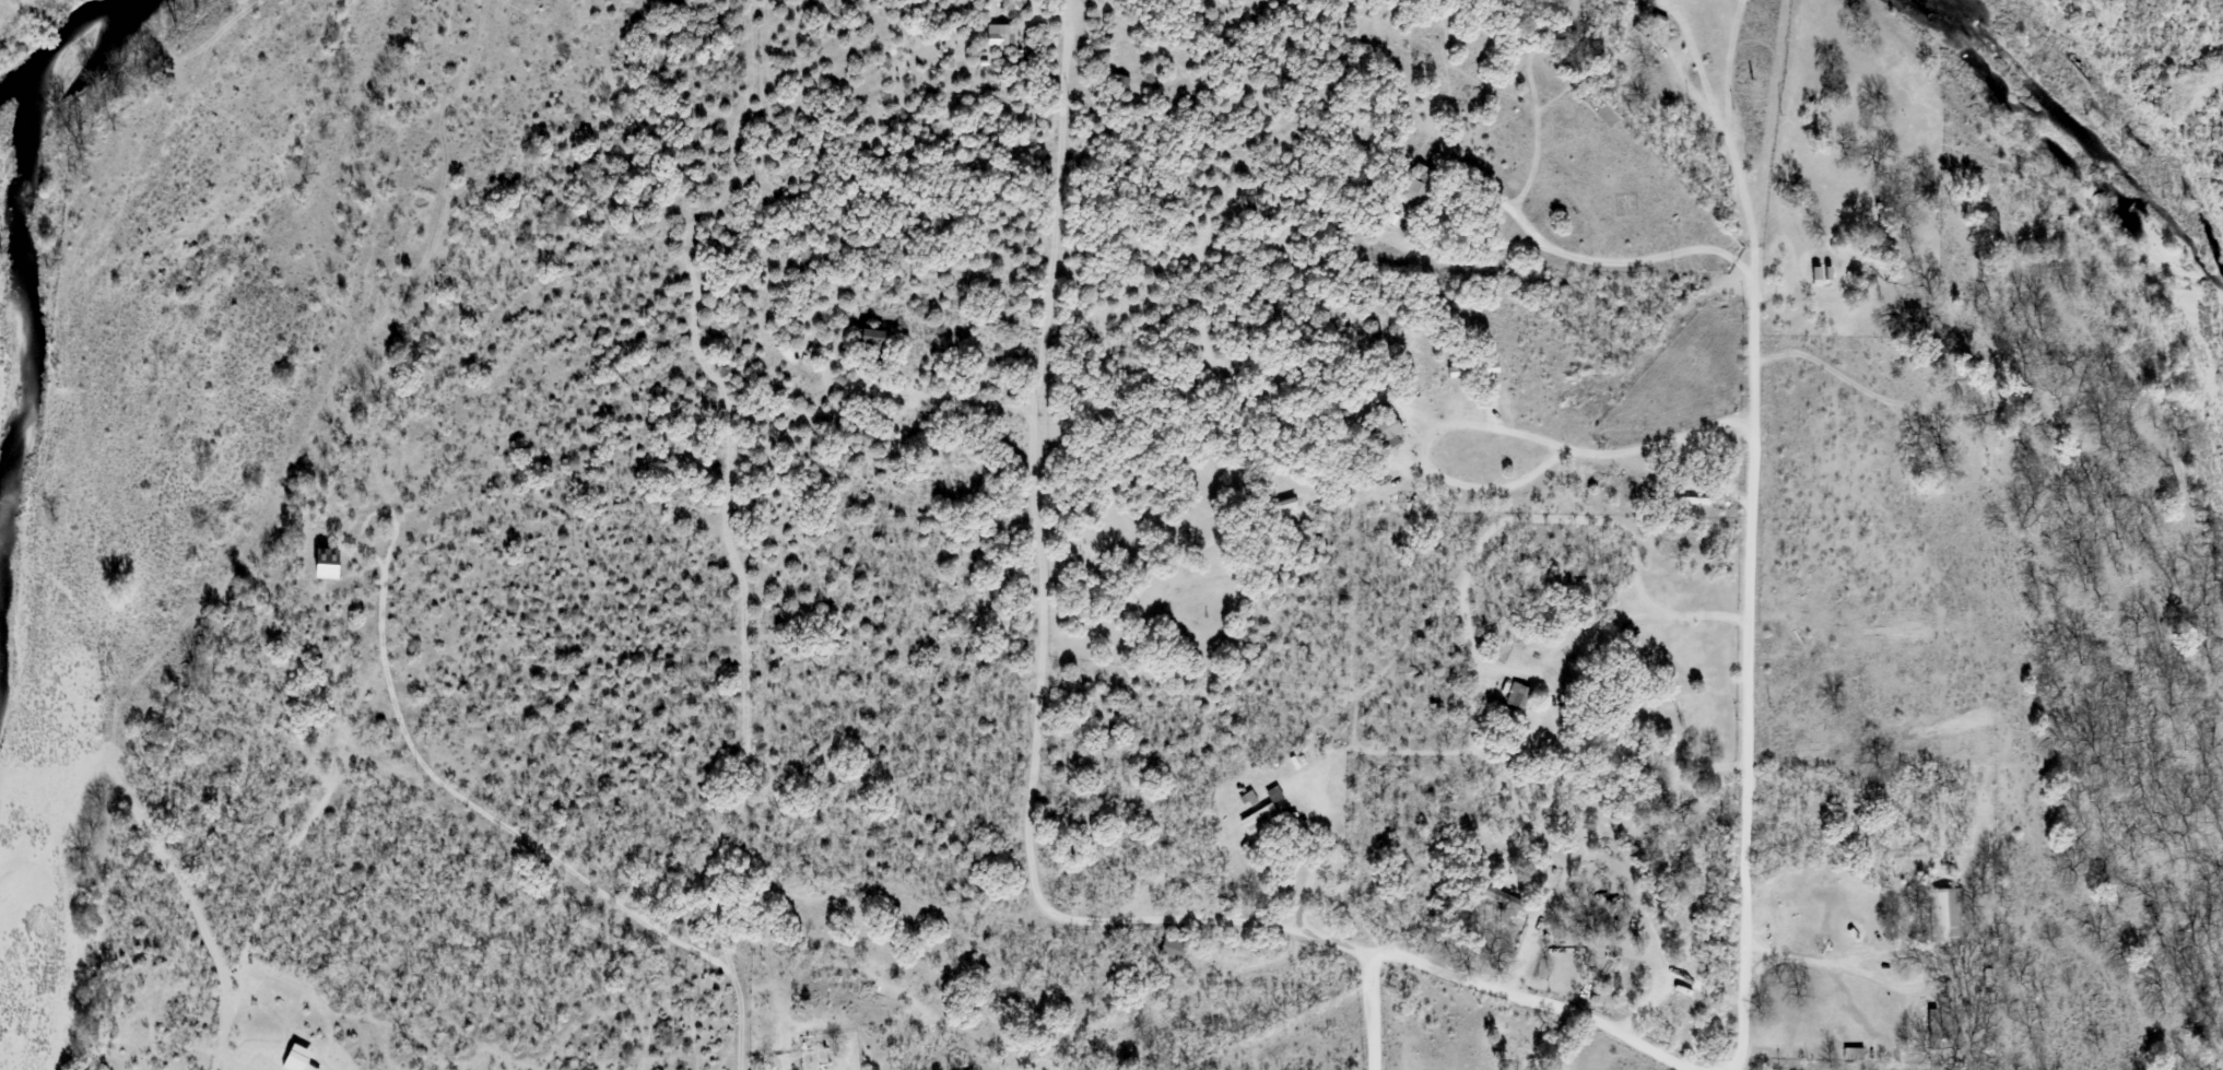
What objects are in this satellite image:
building: (1001, 39)
building: (1120, 83)
river: (2098, 151)
building: (1416, 190)
river: (32, 292)
building: (873, 340)
building: (1389, 430)
building: (1683, 494)
building: (329, 564)
building: (1517, 697)
building: (1507, 901)
building: (1946, 918)
building: (1173, 951)
building: (1939, 1018)

